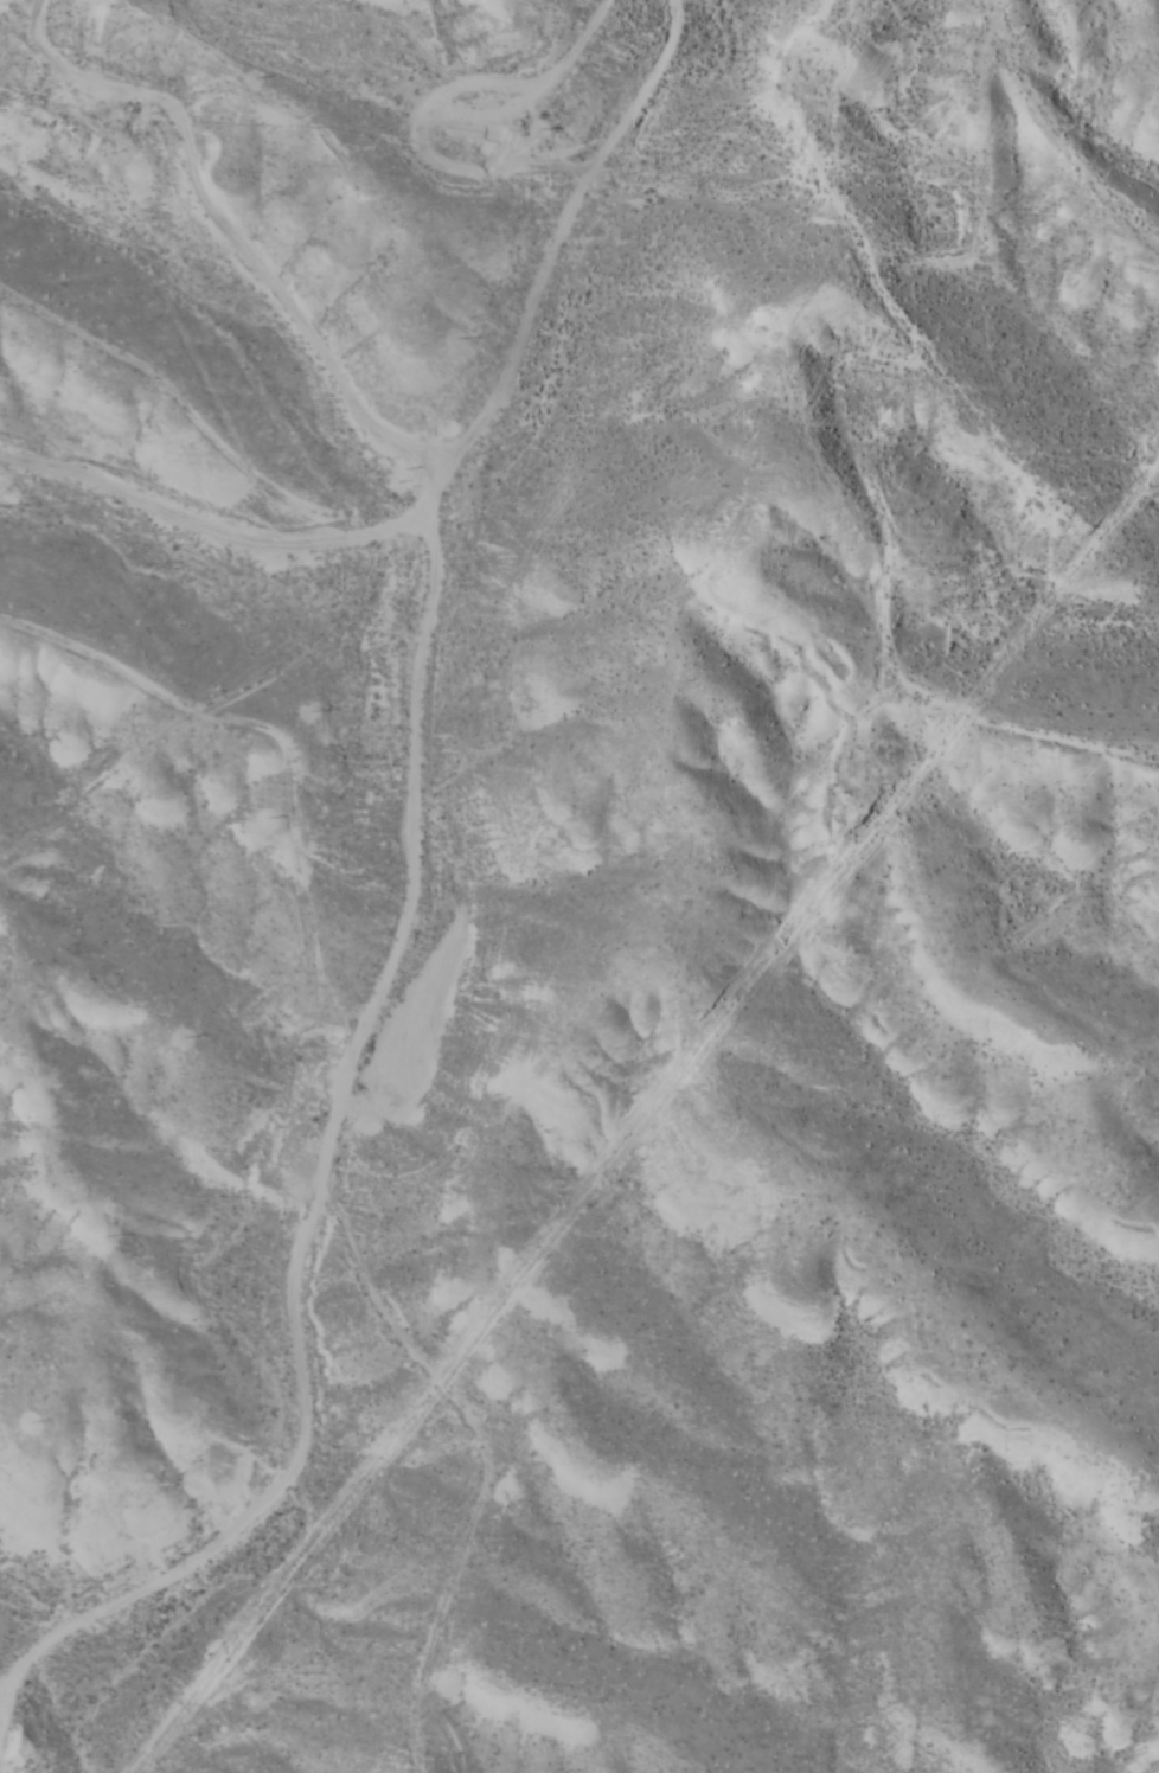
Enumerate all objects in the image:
road: (186, 600)
road: (376, 914)

